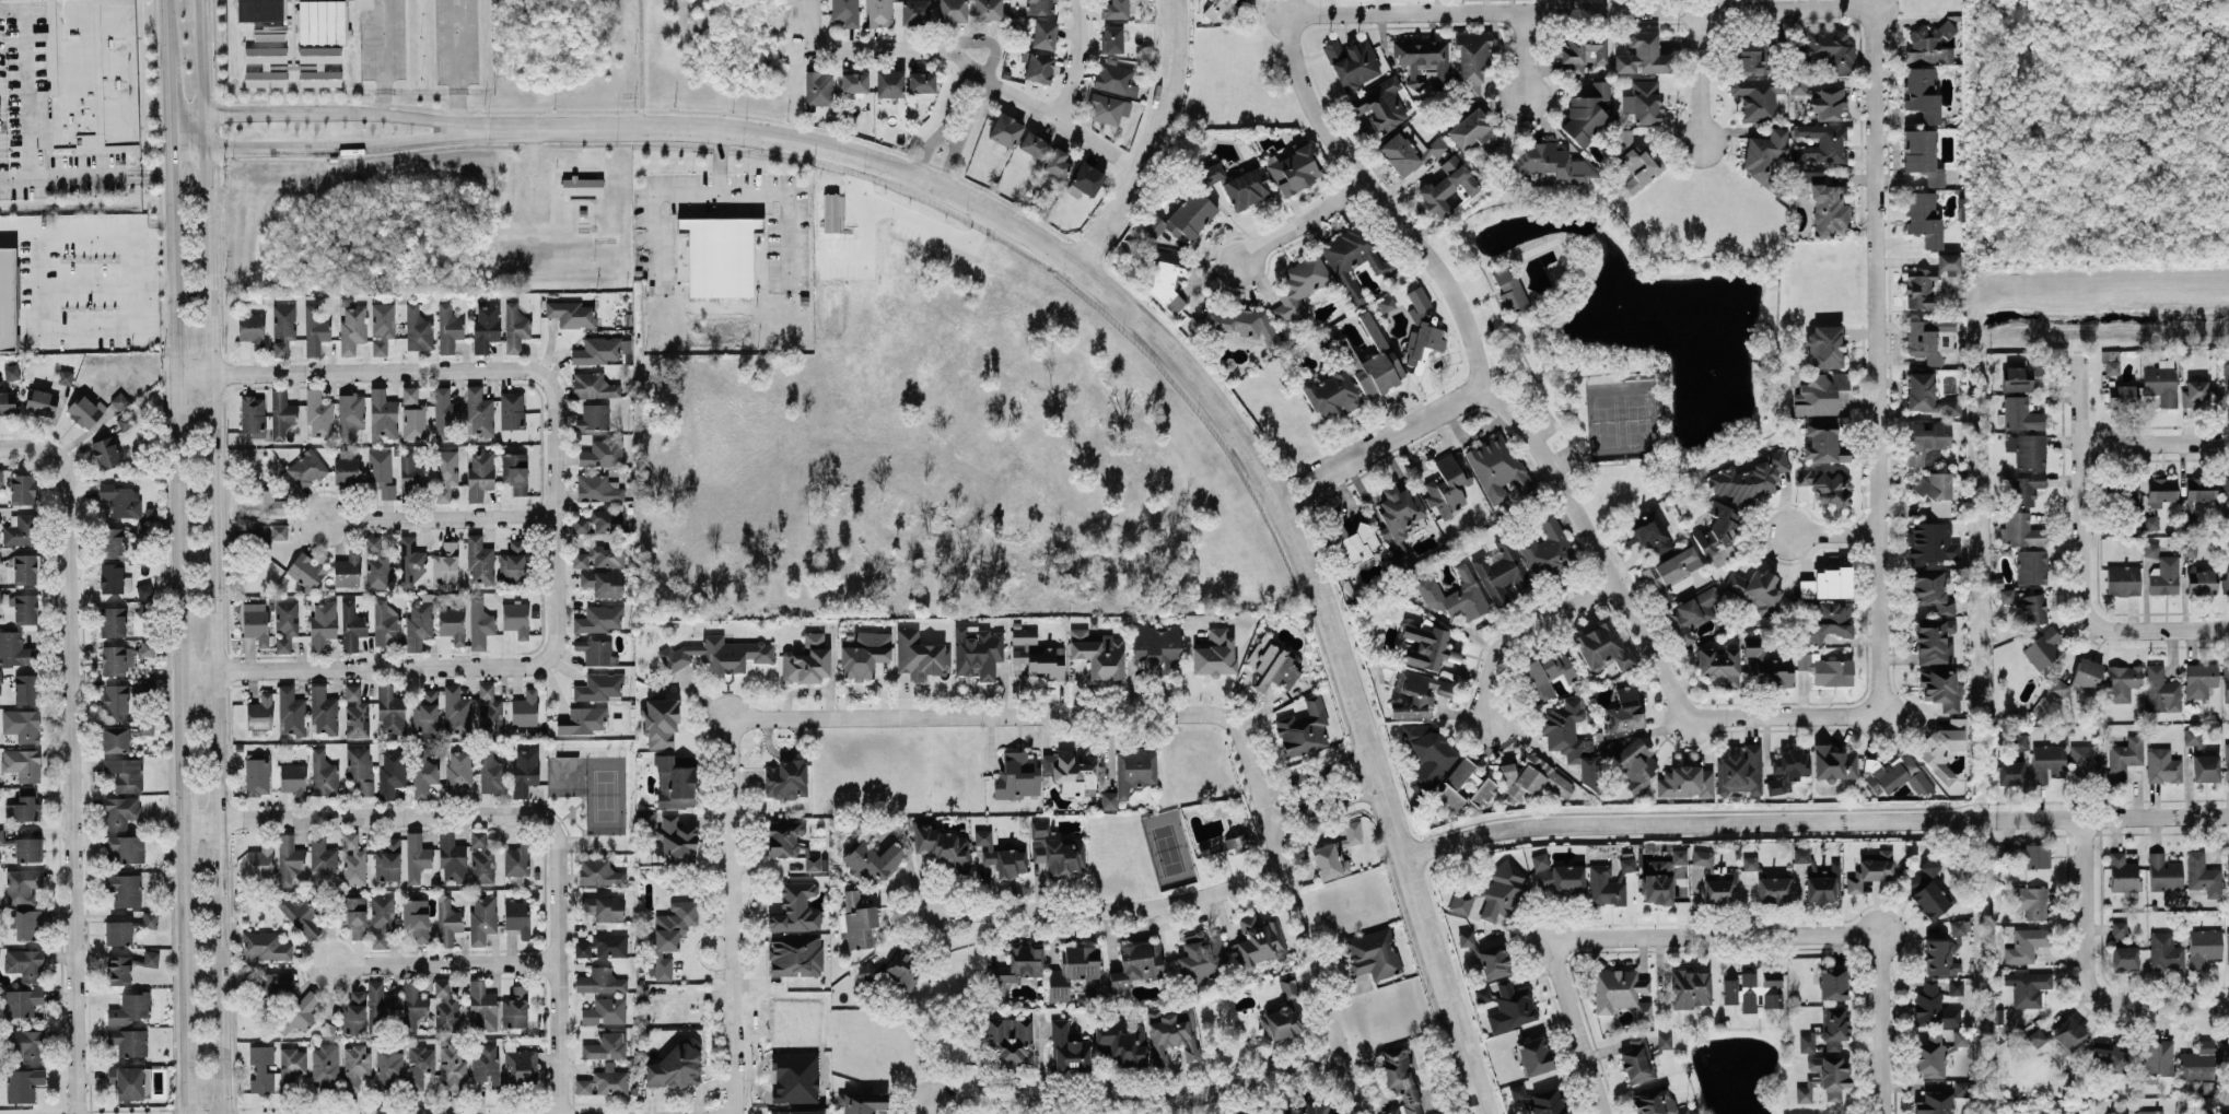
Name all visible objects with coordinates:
building: (363, 3)
building: (1039, 7)
building: (988, 9)
building: (1114, 9)
building: (952, 10)
building: (915, 11)
road: (1578, 11)
building: (845, 12)
building: (878, 13)
building: (322, 21)
road: (814, 23)
road: (167, 25)
building: (268, 34)
building: (1043, 34)
building: (1111, 38)
road: (981, 42)
building: (1928, 46)
building: (1829, 48)
building: (1578, 51)
road: (1524, 52)
building: (266, 54)
building: (1642, 55)
road: (383, 56)
building: (1751, 56)
road: (201, 60)
building: (1472, 60)
road: (457, 61)
road: (1074, 61)
building: (1352, 62)
building: (319, 66)
building: (1037, 66)
road: (972, 69)
building: (90, 77)
road: (1700, 77)
building: (265, 78)
building: (1114, 78)
road: (25, 81)
building: (854, 82)
building: (889, 83)
building: (922, 83)
building: (1797, 83)
building: (818, 89)
road: (170, 91)
building: (1922, 92)
building: (1757, 96)
building: (1643, 101)
building: (1828, 102)
building: (1378, 105)
building: (1107, 108)
building: (1587, 108)
road: (341, 110)
road: (944, 121)
road: (188, 125)
road: (960, 130)
building: (1005, 130)
building: (1473, 131)
road: (203, 133)
building: (1623, 136)
road: (948, 137)
road: (187, 139)
road: (1152, 141)
building: (1034, 144)
building: (1820, 144)
road: (341, 146)
building: (1409, 150)
building: (1922, 155)
building: (1765, 157)
road: (720, 162)
building: (1553, 162)
building: (1057, 163)
building: (1639, 166)
building: (1294, 167)
road: (85, 173)
building: (1210, 173)
building: (1086, 178)
building: (582, 185)
building: (1447, 186)
building: (1247, 189)
road: (732, 194)
building: (1822, 203)
building: (830, 212)
building: (1183, 216)
building: (1924, 218)
road: (1302, 221)
building: (720, 255)
road: (1694, 255)
building: (1354, 259)
building: (1948, 262)
building: (1164, 278)
building: (1299, 285)
parking lot: (1467, 286)
building: (1919, 286)
building: (1509, 288)
road: (1489, 297)
building: (7, 298)
road: (1478, 298)
building: (1387, 304)
building: (571, 313)
road: (1502, 318)
parking lot: (1482, 319)
building: (1239, 323)
building: (382, 326)
building: (486, 327)
building: (515, 327)
building: (250, 328)
building: (351, 328)
building: (418, 328)
building: (448, 328)
building: (1422, 329)
building: (314, 330)
park: (1625, 331)
road: (117, 332)
building: (1930, 339)
building: (1824, 345)
building: (604, 350)
building: (2108, 354)
road: (1876, 360)
building: (1372, 361)
building: (2111, 367)
building: (11, 372)
road: (360, 373)
building: (65, 376)
building: (2018, 377)
road: (1197, 378)
building: (2160, 382)
building: (593, 385)
building: (2225, 385)
building: (1330, 394)
building: (1819, 394)
building: (1926, 394)
building: (2194, 394)
building: (2123, 396)
building: (118, 400)
building: (42, 401)
building: (7, 402)
building: (84, 410)
building: (512, 410)
building: (444, 412)
building: (479, 412)
building: (253, 413)
building: (281, 413)
building: (318, 413)
building: (382, 413)
building: (350, 414)
building: (412, 414)
building: (2021, 414)
building: (593, 417)
park: (1620, 418)
building: (125, 421)
building: (1925, 438)
building: (1823, 442)
road: (2157, 442)
road: (1378, 444)
road: (1536, 445)
road: (30, 447)
building: (2027, 449)
building: (105, 452)
building: (603, 452)
parking lot: (1565, 459)
building: (346, 467)
building: (306, 468)
building: (1497, 468)
building: (382, 471)
building: (515, 471)
building: (480, 472)
building: (445, 473)
building: (410, 476)
building: (0, 478)
building: (1749, 478)
building: (1448, 484)
building: (1827, 485)
building: (597, 488)
building: (22, 489)
building: (2024, 489)
building: (2199, 489)
building: (2225, 490)
building: (1935, 492)
building: (2126, 492)
building: (261, 503)
building: (1399, 509)
road: (555, 513)
road: (437, 518)
building: (603, 519)
building: (0, 521)
building: (2150, 521)
building: (143, 528)
building: (20, 529)
building: (1714, 529)
building: (2021, 530)
building: (1649, 531)
building: (269, 532)
road: (1833, 533)
building: (1351, 541)
building: (112, 542)
building: (1930, 542)
road: (2085, 546)
building: (1547, 548)
building: (2151, 549)
building: (1722, 554)
building: (600, 555)
building: (0, 560)
building: (410, 561)
building: (479, 561)
building: (512, 562)
building: (445, 563)
building: (376, 564)
building: (2031, 566)
building: (24, 567)
building: (347, 570)
building: (305, 571)
building: (1501, 571)
building: (1670, 571)
building: (2164, 575)
building: (112, 577)
building: (2226, 578)
building: (2122, 579)
building: (2201, 582)
building: (603, 583)
building: (1827, 583)
building: (1753, 588)
building: (143, 589)
building: (1930, 590)
building: (1455, 595)
building: (2007, 595)
building: (0, 598)
building: (25, 608)
building: (2033, 608)
building: (1692, 612)
building: (515, 618)
building: (598, 619)
building: (1829, 620)
building: (113, 621)
road: (180, 621)
building: (256, 622)
building: (419, 622)
building: (385, 623)
building: (452, 623)
building: (284, 624)
building: (322, 624)
building: (479, 624)
building: (351, 626)
road: (2220, 626)
road: (217, 630)
road: (1521, 631)
building: (1934, 641)
building: (1156, 646)
building: (1425, 646)
building: (1601, 646)
building: (148, 647)
building: (2042, 647)
building: (15, 649)
building: (595, 650)
building: (977, 652)
building: (1098, 653)
building: (1214, 653)
building: (719, 654)
building: (864, 654)
building: (919, 655)
building: (1036, 656)
building: (116, 658)
building: (807, 660)
building: (1272, 664)
building: (1719, 665)
building: (1767, 665)
road: (367, 668)
building: (1825, 668)
building: (1548, 672)
building: (2086, 672)
building: (1, 677)
building: (2199, 679)
building: (2122, 682)
building: (2226, 682)
building: (598, 687)
building: (1940, 688)
building: (2058, 688)
building: (25, 689)
building: (2161, 690)
building: (1417, 693)
building: (115, 699)
building: (524, 708)
building: (323, 710)
building: (390, 710)
building: (1623, 710)
building: (291, 711)
building: (457, 711)
building: (489, 711)
building: (259, 712)
building: (355, 712)
building: (425, 712)
road: (1026, 715)
building: (582, 719)
building: (661, 723)
building: (22, 725)
building: (1304, 729)
building: (2192, 736)
building: (115, 739)
building: (1571, 740)
building: (2016, 746)
building: (1944, 748)
building: (1426, 754)
building: (2124, 757)
building: (2046, 761)
building: (2227, 761)
building: (22, 763)
building: (1833, 763)
building: (2162, 765)
building: (360, 767)
building: (2205, 767)
building: (1786, 769)
building: (423, 770)
building: (458, 771)
building: (491, 771)
building: (524, 771)
building: (1740, 771)
building: (390, 772)
building: (1072, 772)
building: (2010, 772)
building: (125, 773)
building: (323, 773)
building: (565, 774)
building: (1018, 774)
building: (1130, 774)
building: (1898, 775)
building: (257, 776)
building: (785, 778)
building: (1532, 778)
building: (293, 779)
building: (1684, 782)
road: (73, 783)
building: (675, 783)
building: (1457, 784)
road: (1319, 786)
building: (1482, 791)
building: (23, 807)
building: (120, 811)
road: (366, 817)
road: (1813, 821)
building: (1353, 831)
building: (1, 836)
building: (672, 837)
building: (783, 839)
building: (1234, 843)
building: (943, 844)
building: (28, 848)
building: (125, 848)
building: (1055, 848)
building: (1209, 848)
building: (2029, 854)
building: (1000, 855)
building: (1800, 855)
building: (1679, 856)
building: (416, 857)
building: (451, 857)
building: (288, 858)
building: (481, 858)
building: (517, 858)
building: (259, 860)
building: (322, 860)
building: (353, 860)
building: (388, 860)
building: (1540, 860)
building: (873, 861)
building: (1328, 861)
building: (813, 863)
building: (1749, 863)
building: (1626, 864)
building: (2227, 867)
building: (598, 871)
building: (1870, 871)
building: (2122, 872)
building: (2164, 872)
building: (2203, 875)
building: (1715, 878)
building: (1562, 879)
building: (1662, 882)
building: (1822, 883)
building: (22, 884)
building: (1604, 887)
building: (125, 889)
building: (1773, 889)
building: (1927, 889)
building: (1503, 890)
building: (1460, 901)
building: (2031, 901)
building: (604, 907)
building: (795, 908)
road: (1113, 911)
road: (2082, 911)
building: (297, 914)
building: (353, 915)
road: (731, 916)
building: (517, 917)
building: (416, 918)
building: (482, 918)
building: (150, 919)
building: (381, 919)
building: (857, 920)
building: (447, 922)
building: (25, 923)
building: (2119, 929)
building: (118, 933)
building: (672, 933)
road: (1713, 936)
building: (1466, 937)
building: (1259, 940)
building: (264, 945)
building: (2026, 945)
building: (603, 946)
building: (2204, 946)
building: (2227, 948)
building: (1944, 951)
building: (2164, 951)
building: (1373, 953)
building: (795, 954)
building: (1202, 957)
building: (151, 958)
building: (2123, 958)
road: (1316, 959)
building: (1494, 961)
road: (444, 962)
building: (25, 963)
building: (1019, 963)
building: (1136, 963)
road: (559, 966)
building: (118, 969)
building: (903, 970)
building: (867, 971)
building: (1074, 971)
building: (1771, 977)
building: (1748, 978)
building: (599, 981)
building: (275, 983)
building: (1832, 983)
building: (1287, 986)
building: (2028, 987)
building: (1691, 988)
building: (1729, 990)
building: (1621, 992)
building: (1482, 994)
building: (1772, 1000)
road: (2164, 1000)
building: (21, 1001)
building: (1748, 1002)
building: (378, 1006)
building: (481, 1006)
building: (1929, 1006)
building: (131, 1007)
building: (412, 1007)
building: (445, 1007)
building: (1512, 1007)
building: (514, 1008)
building: (605, 1010)
building: (354, 1012)
building: (299, 1015)
building: (1281, 1022)
road: (1880, 1023)
road: (1574, 1025)
building: (1834, 1027)
building: (2068, 1033)
building: (1172, 1034)
building: (2038, 1036)
building: (1121, 1039)
building: (1664, 1040)
building: (128, 1041)
building: (1010, 1041)
building: (1806, 1042)
building: (26, 1044)
building: (605, 1046)
building: (1067, 1047)
building: (2224, 1051)
building: (1533, 1055)
building: (1929, 1055)
building: (2109, 1056)
building: (2157, 1058)
building: (1637, 1060)
building: (2197, 1060)
building: (485, 1062)
building: (357, 1065)
building: (419, 1065)
building: (676, 1065)
building: (325, 1066)
building: (452, 1066)
building: (520, 1066)
building: (292, 1067)
building: (389, 1067)
park: (1742, 1071)
building: (1831, 1075)
building: (1401, 1078)
building: (130, 1081)
building: (604, 1081)
building: (23, 1083)
building: (1517, 1091)
building: (1805, 1092)
road: (1139, 1101)
building: (861, 1102)
building: (1547, 1102)
building: (1656, 1103)
building: (1934, 1103)
building: (1308, 1107)
building: (796, 1112)
building: (2112, 1112)
building: (2149, 1112)
building: (2225, 1112)
building: (1332, 1113)

